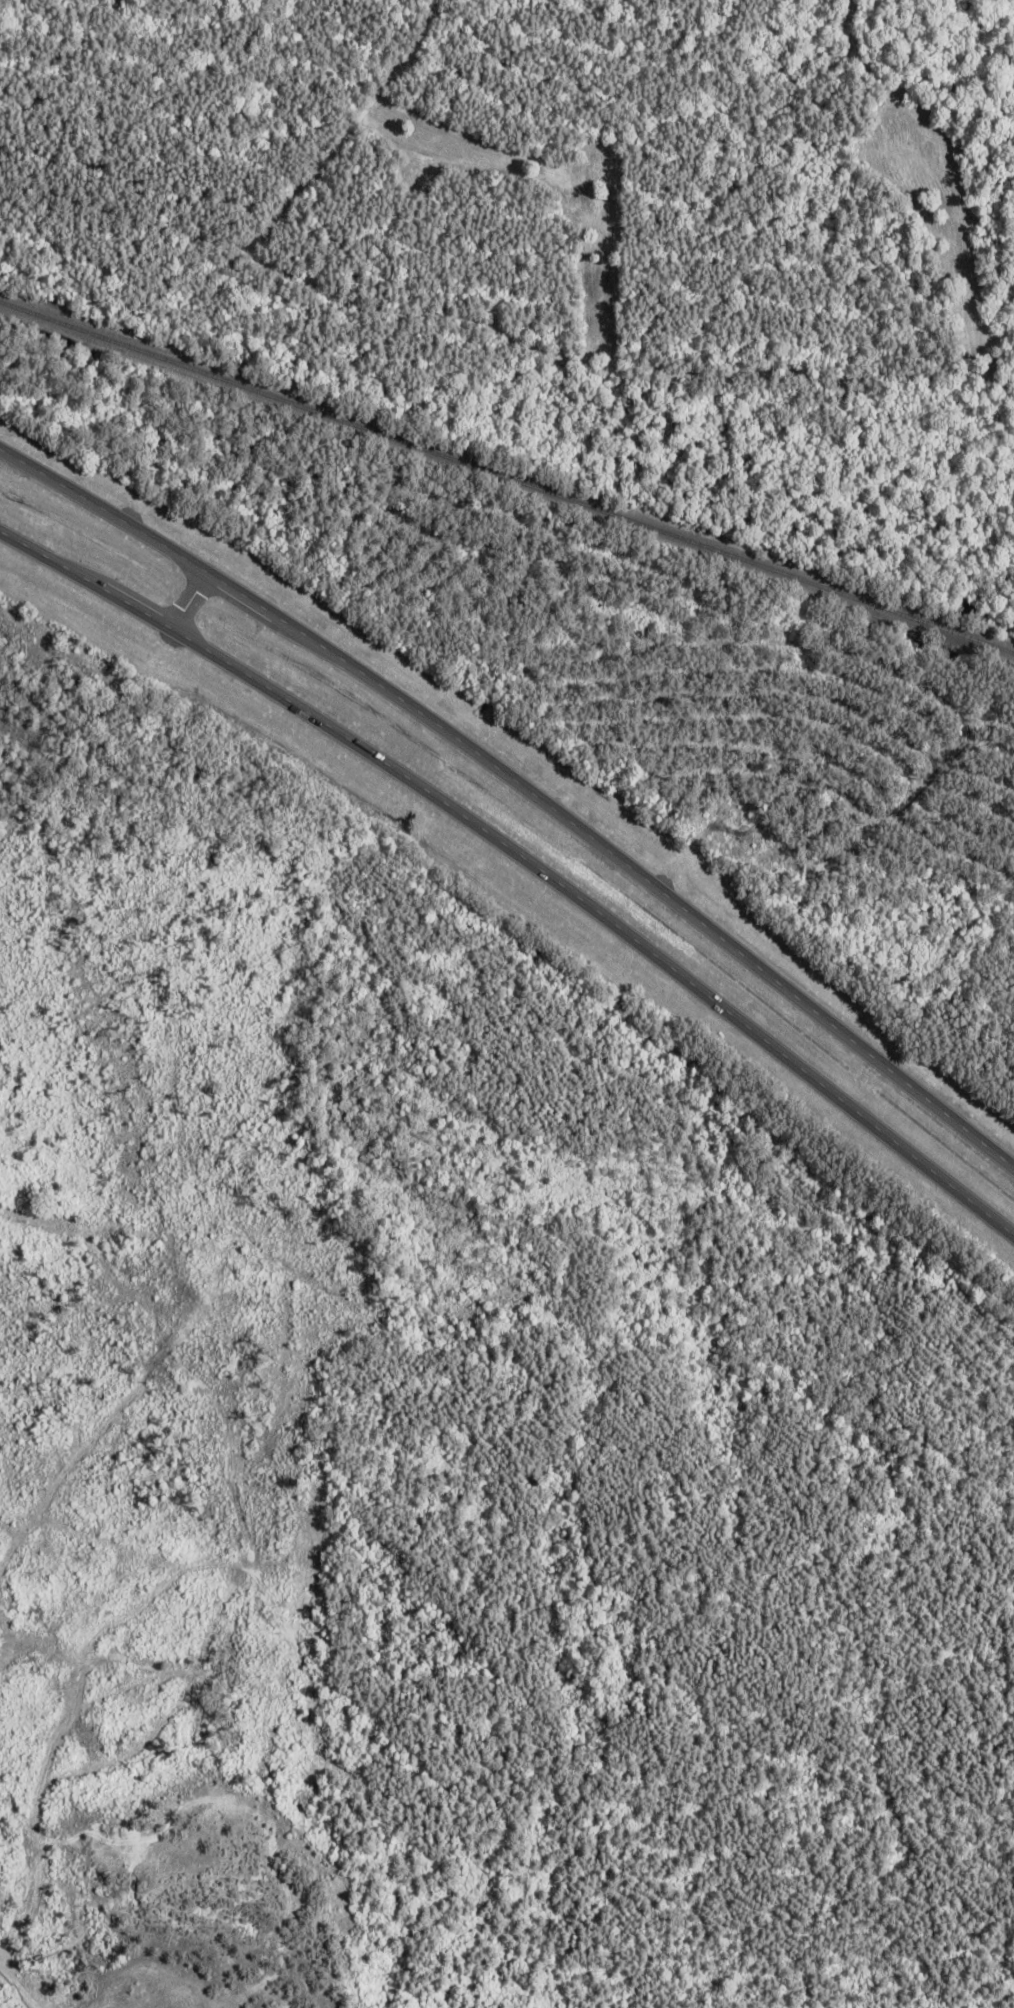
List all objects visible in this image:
railway: (505, 488)
road: (181, 599)
road: (523, 789)
road: (523, 863)

